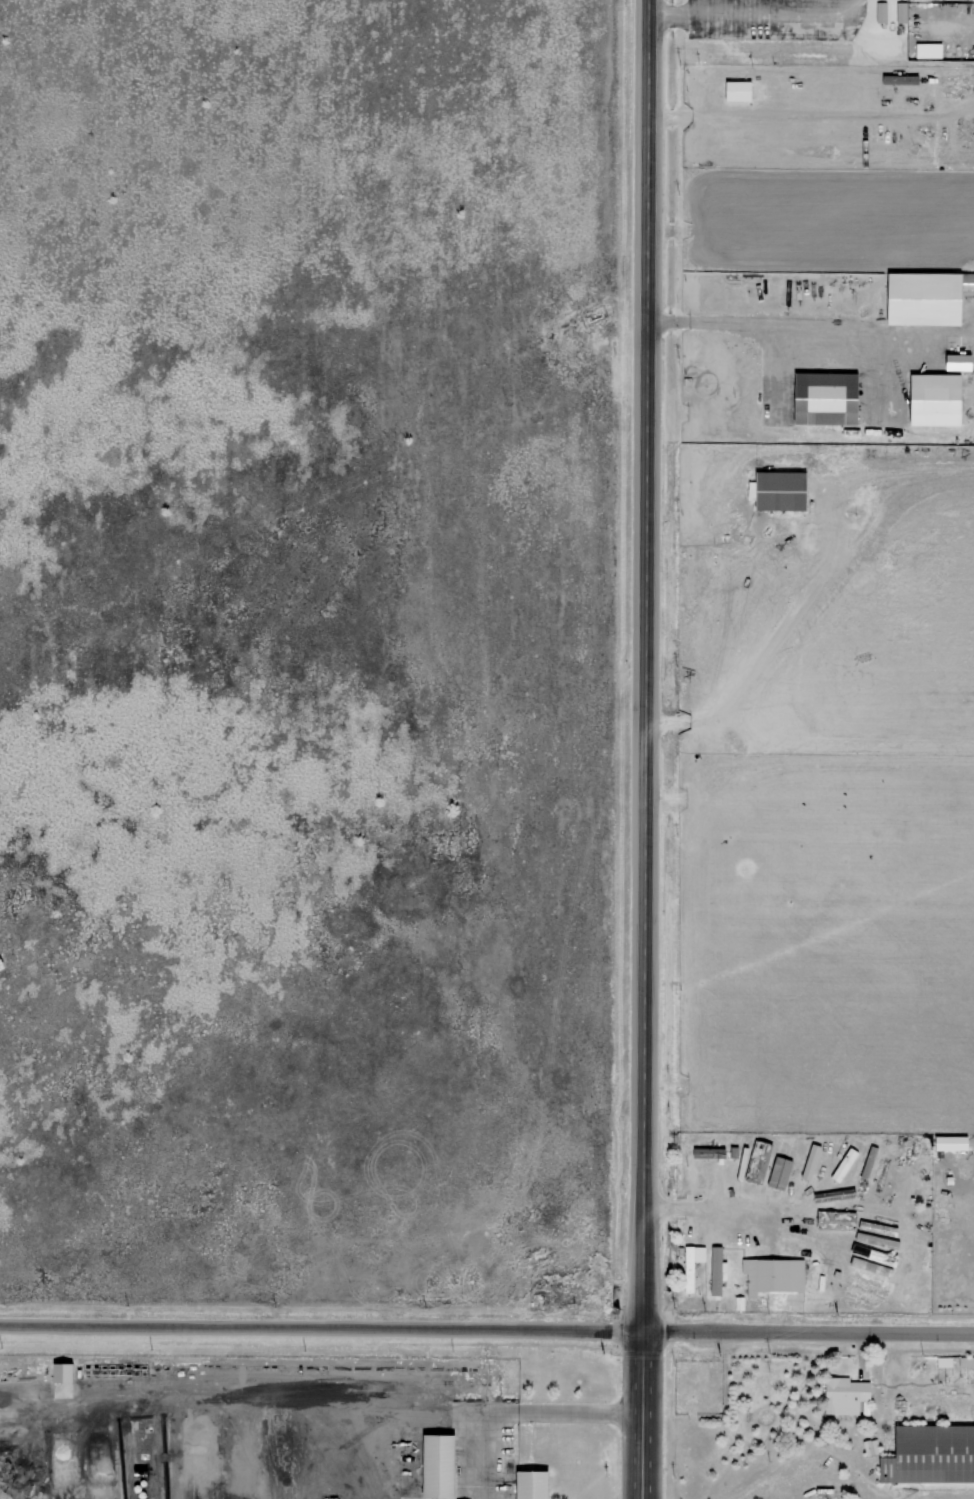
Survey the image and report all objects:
building: (880, 12)
building: (926, 50)
building: (735, 91)
building: (966, 281)
building: (920, 297)
building: (956, 362)
building: (824, 397)
building: (932, 399)
building: (779, 490)
road: (648, 749)
building: (947, 1142)
building: (776, 1164)
building: (788, 1172)
building: (833, 1220)
building: (690, 1264)
building: (714, 1270)
building: (772, 1275)
building: (868, 1293)
road: (486, 1327)
building: (965, 1361)
building: (58, 1372)
building: (844, 1395)
building: (930, 1454)
building: (432, 1466)
building: (526, 1485)

